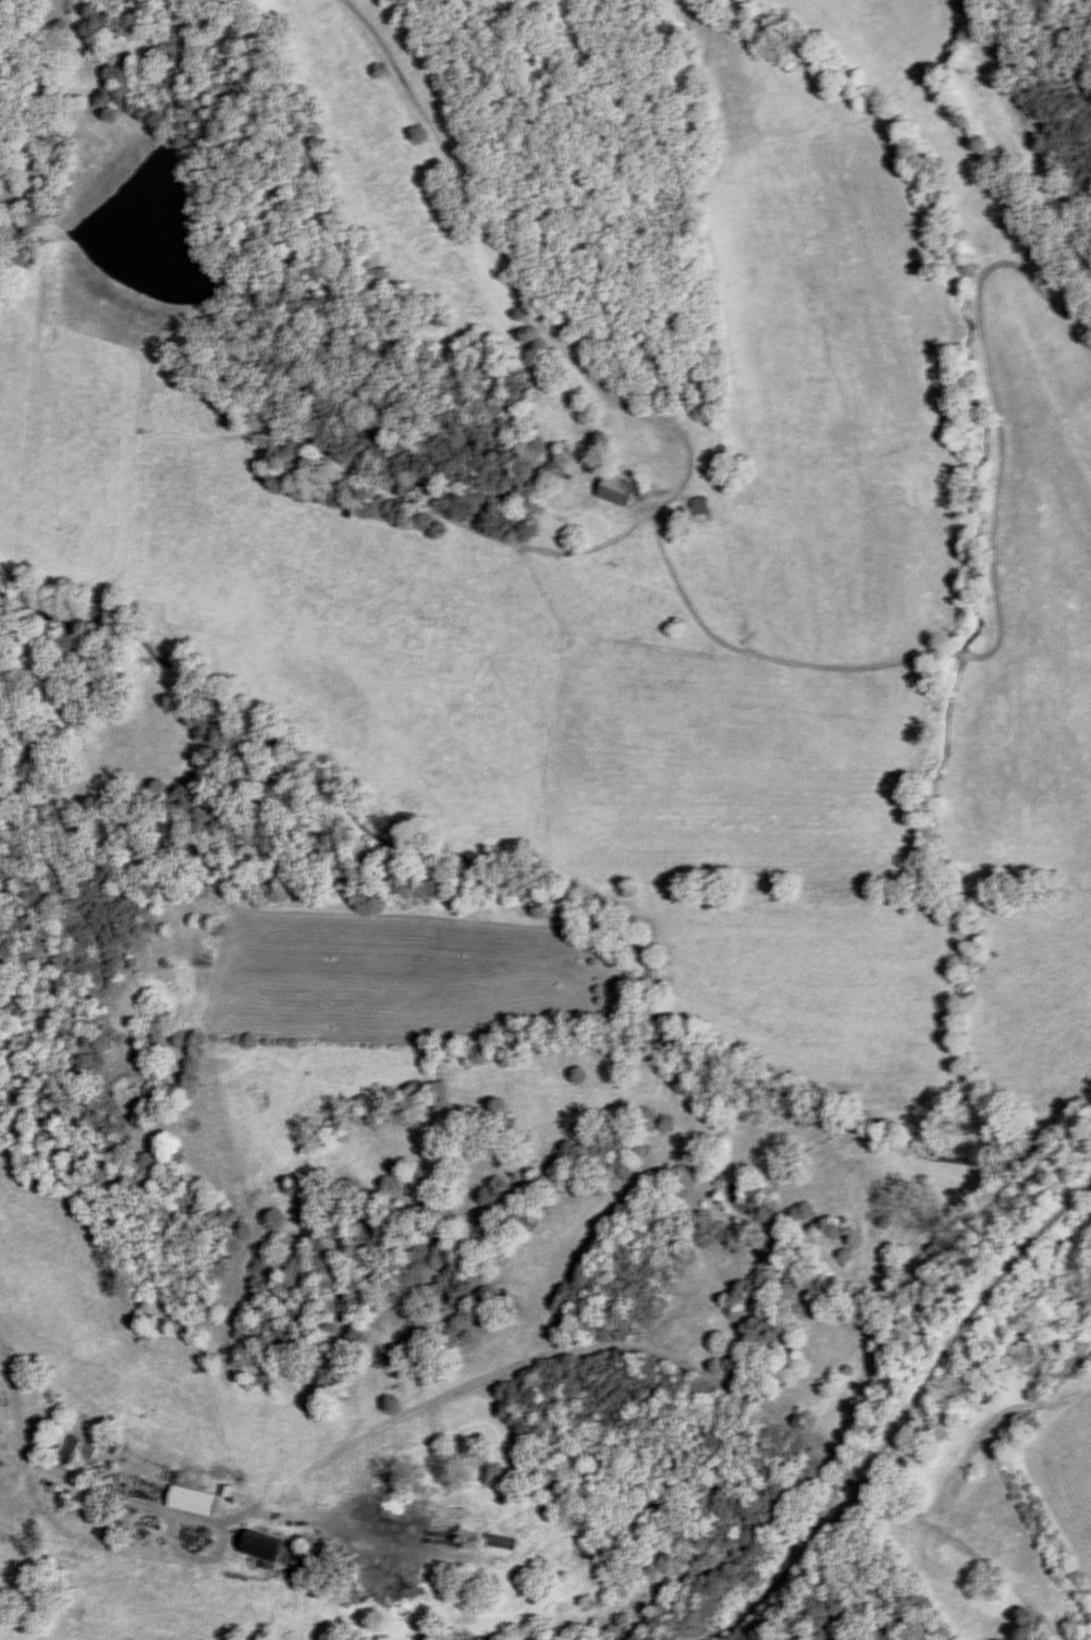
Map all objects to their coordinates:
building: (618, 490)
building: (703, 510)
building: (81, 1452)
road: (66, 1474)
building: (108, 1528)
building: (503, 1541)
building: (266, 1545)

